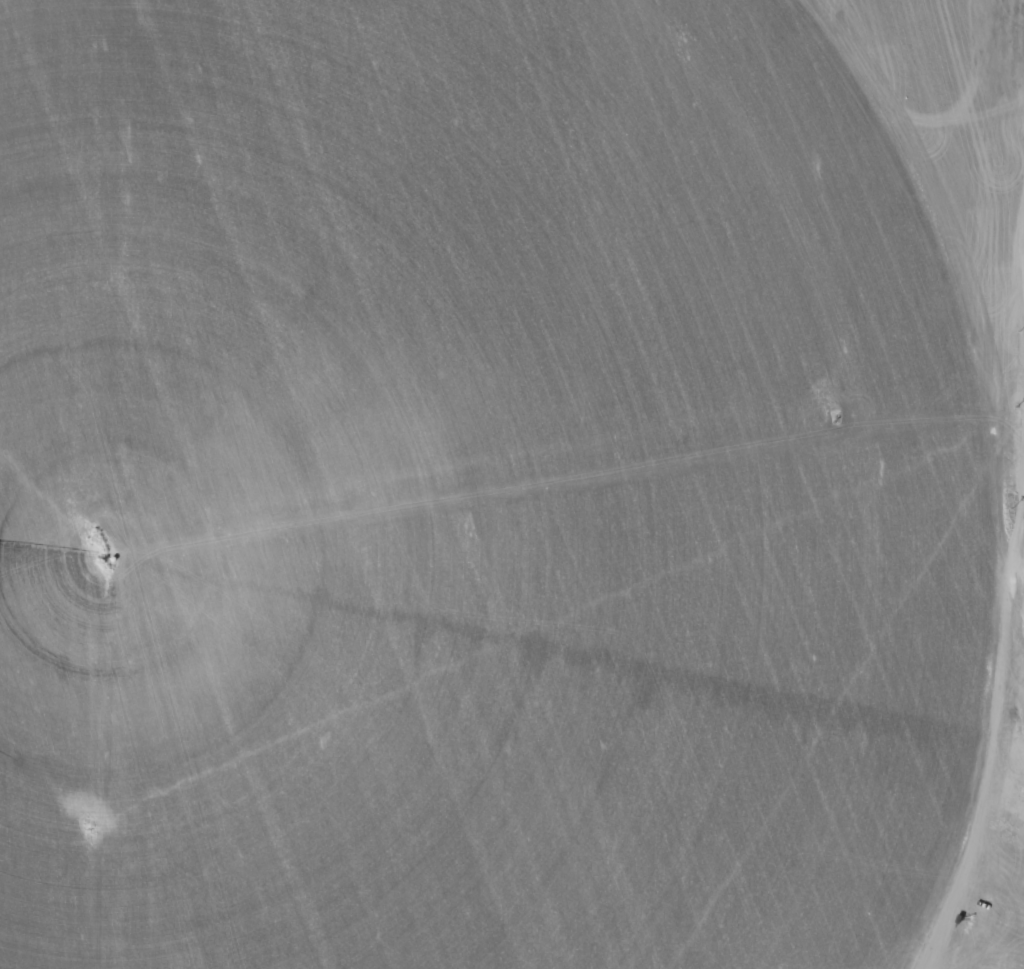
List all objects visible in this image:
road: (994, 771)

